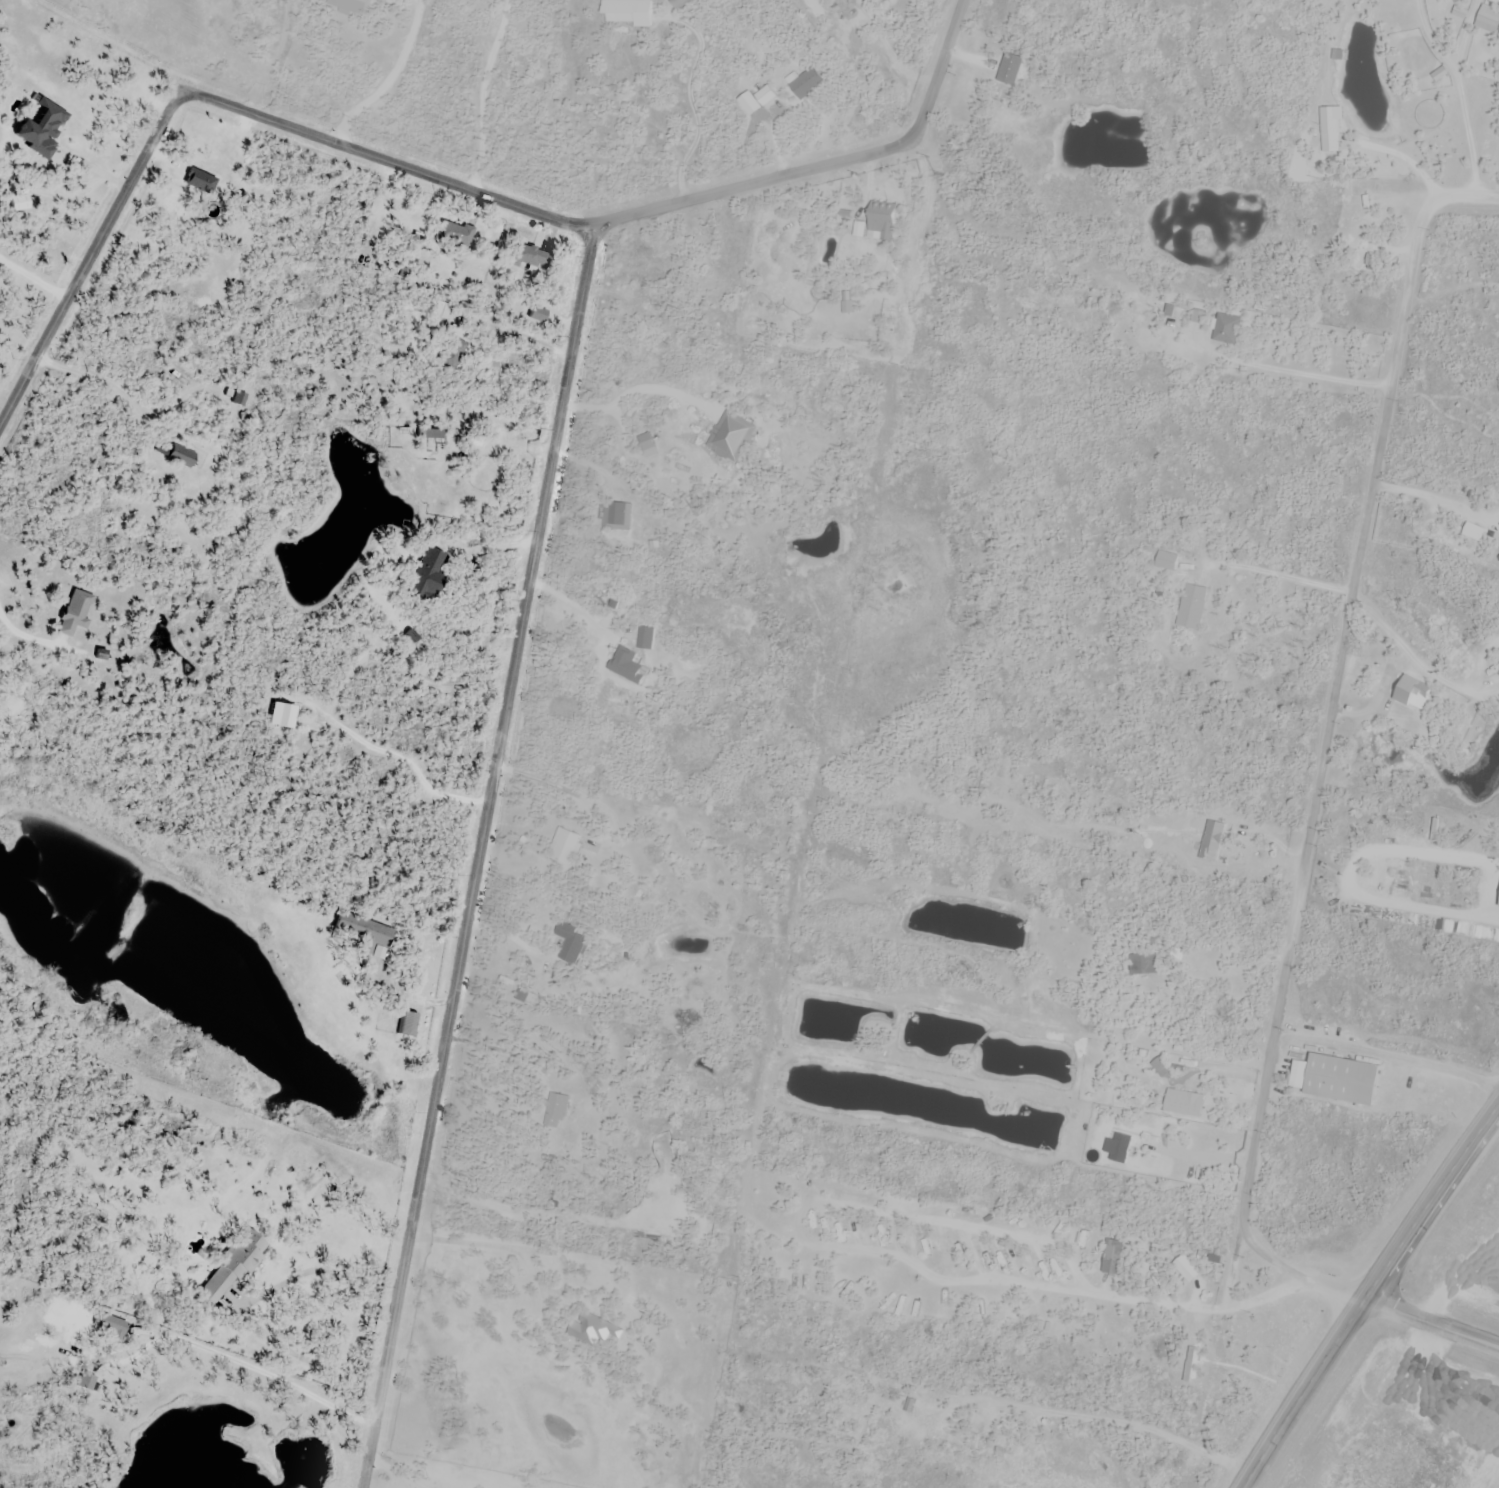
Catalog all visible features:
building: (681, 4)
building: (627, 12)
road: (1462, 35)
road: (1430, 38)
building: (1009, 70)
building: (806, 85)
building: (39, 127)
building: (1330, 130)
road: (1467, 133)
road: (1404, 157)
road: (438, 178)
road: (1461, 195)
building: (174, 208)
building: (880, 222)
building: (1358, 232)
building: (453, 234)
building: (705, 237)
building: (525, 257)
building: (656, 268)
building: (442, 310)
building: (537, 314)
building: (874, 316)
building: (1172, 318)
building: (1225, 328)
building: (451, 352)
road: (1288, 367)
road: (636, 383)
building: (236, 398)
building: (428, 434)
building: (731, 438)
building: (646, 442)
building: (616, 517)
building: (1166, 562)
road: (1280, 571)
building: (428, 574)
road: (575, 607)
building: (1192, 608)
building: (74, 613)
building: (648, 639)
building: (626, 666)
building: (1410, 693)
road: (1325, 755)
building: (992, 792)
building: (1211, 841)
building: (564, 848)
road: (482, 855)
building: (363, 932)
building: (572, 944)
road: (1238, 964)
building: (1144, 965)
building: (389, 1023)
building: (407, 1026)
road: (1389, 1051)
building: (1183, 1104)
building: (556, 1111)
road: (1202, 1153)
building: (839, 1230)
road: (846, 1242)
building: (1112, 1257)
building: (1214, 1261)
building: (232, 1270)
road: (1296, 1270)
road: (1265, 1287)
road: (1365, 1294)
road: (1430, 1324)
building: (109, 1325)
building: (597, 1330)
road: (236, 1360)
building: (87, 1382)
building: (978, 1422)
building: (908, 1430)
road: (394, 1473)

